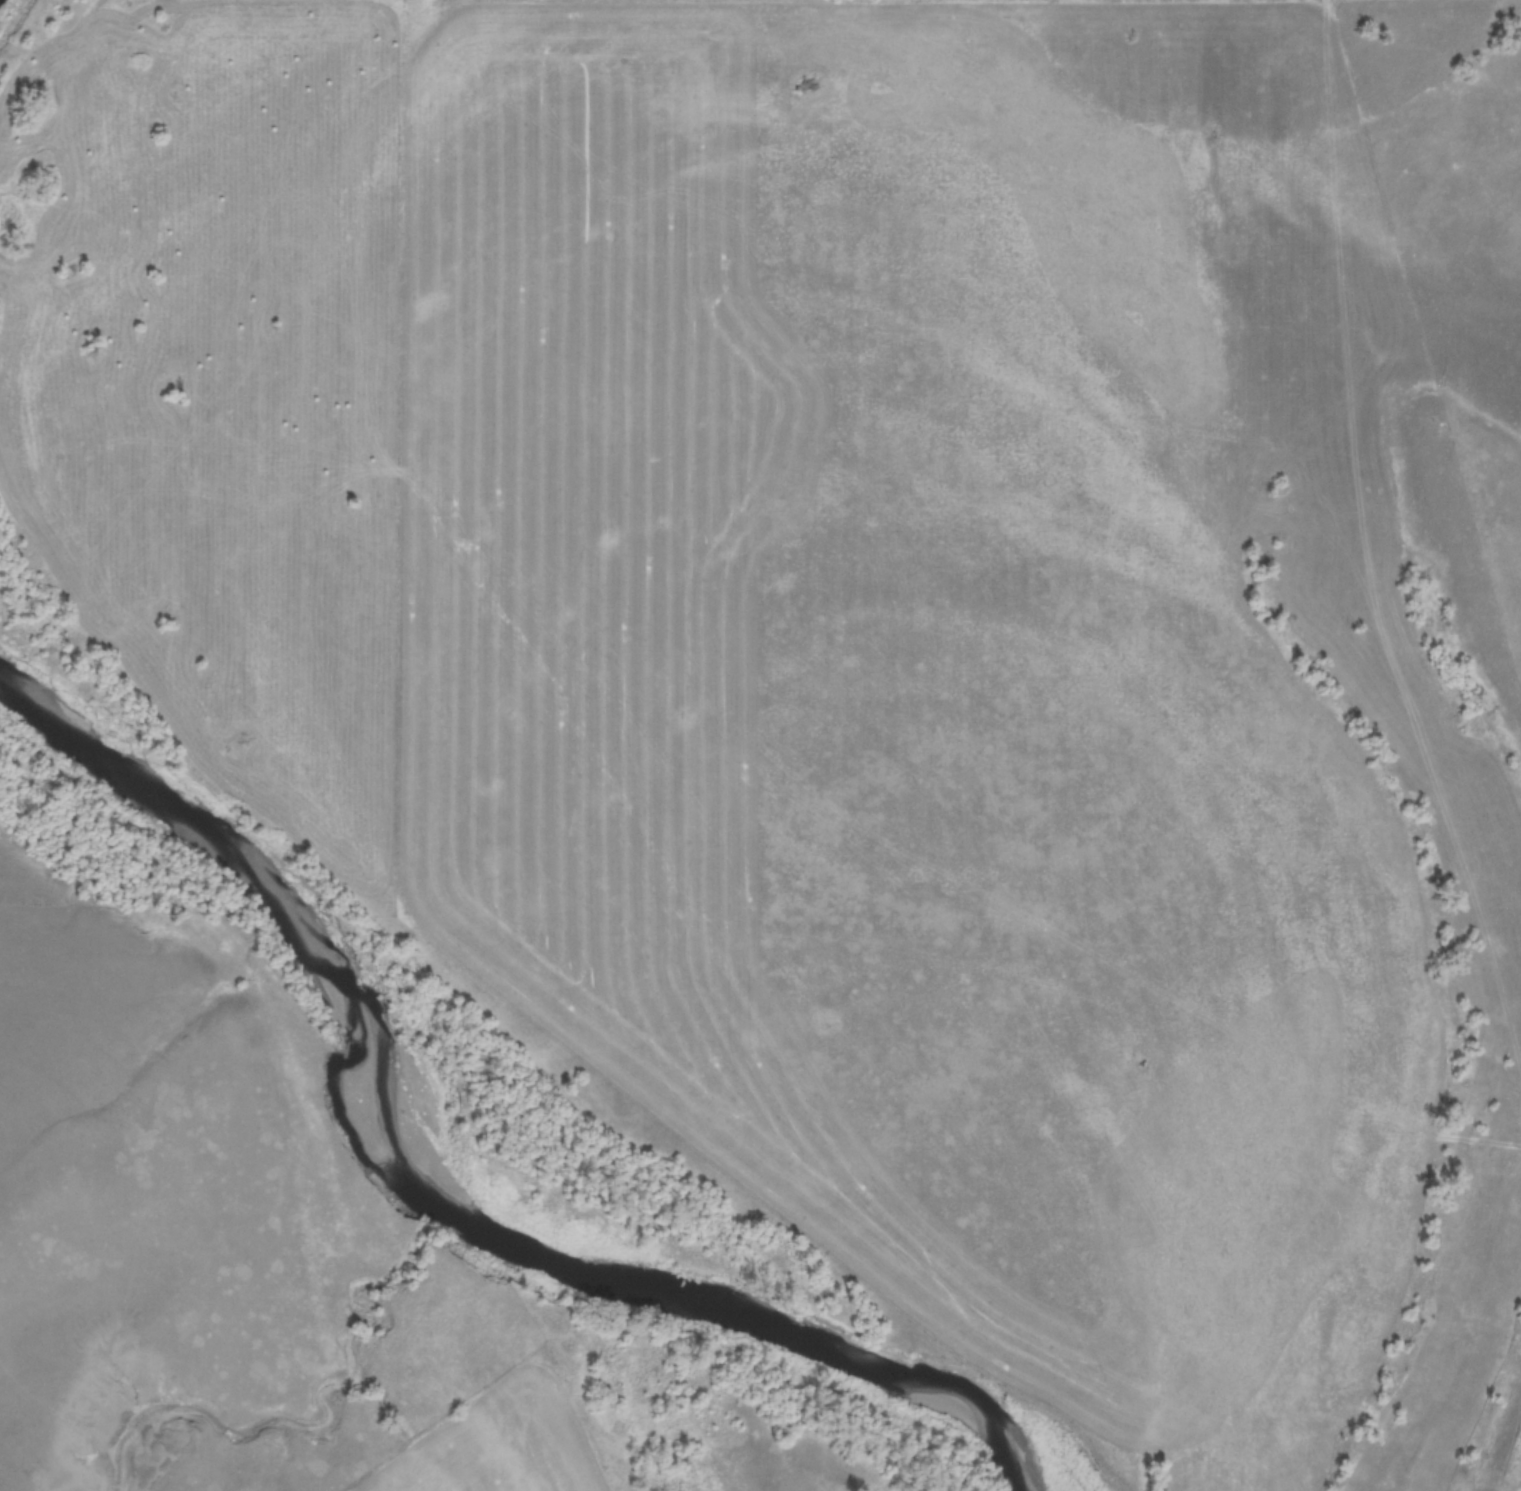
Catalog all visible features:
river: (433, 1199)

